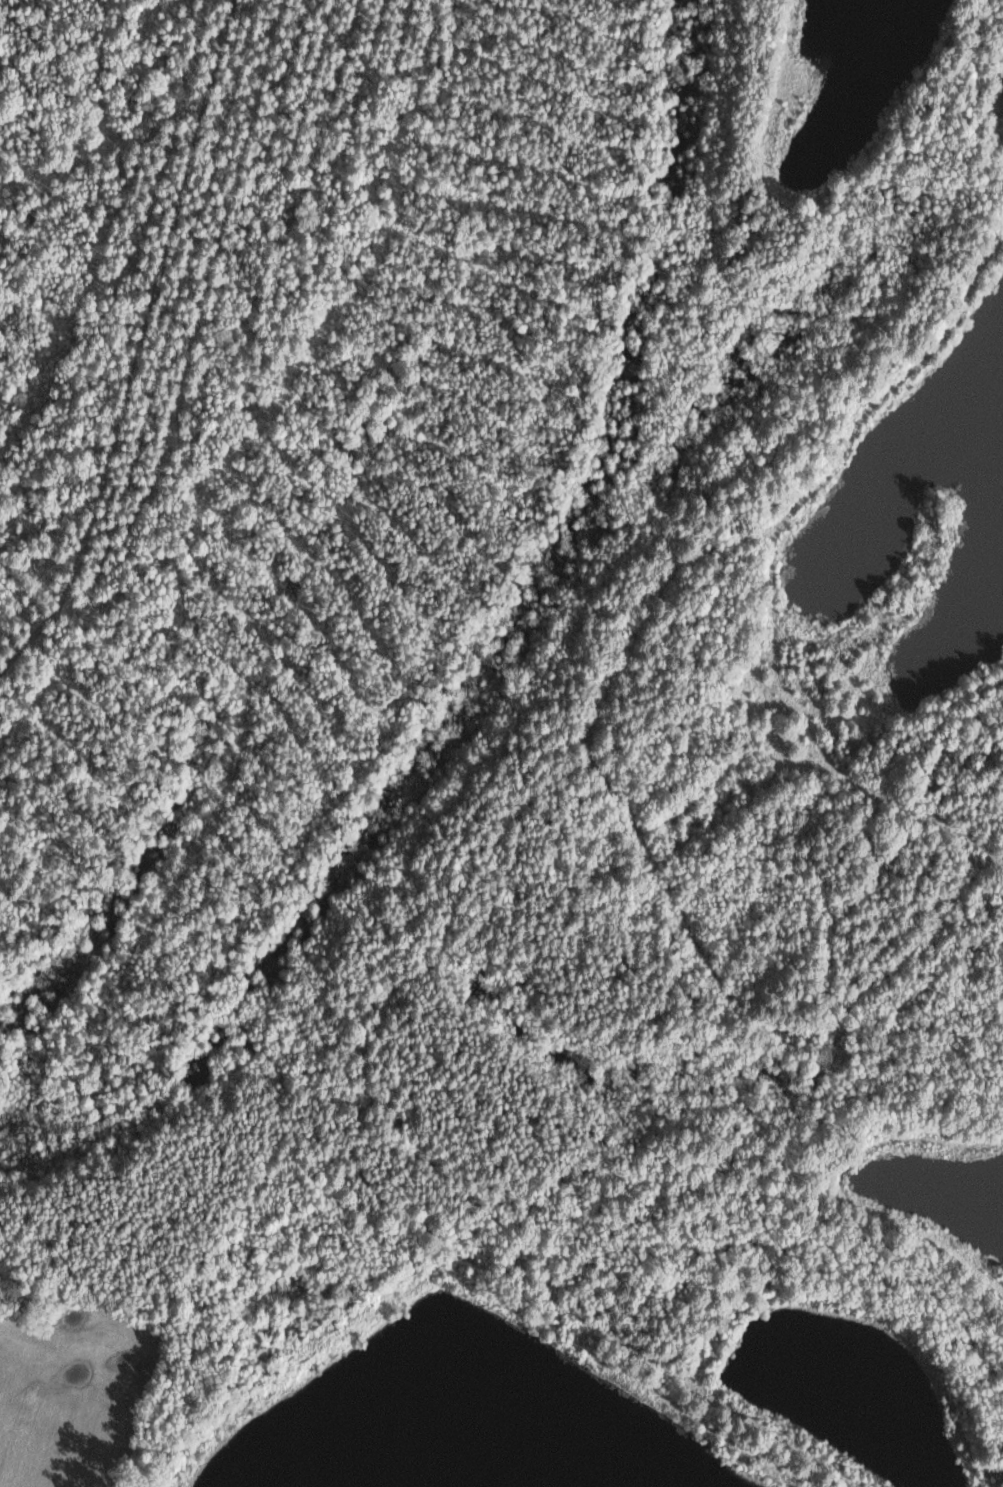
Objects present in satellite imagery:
crop: (71, 1393)

